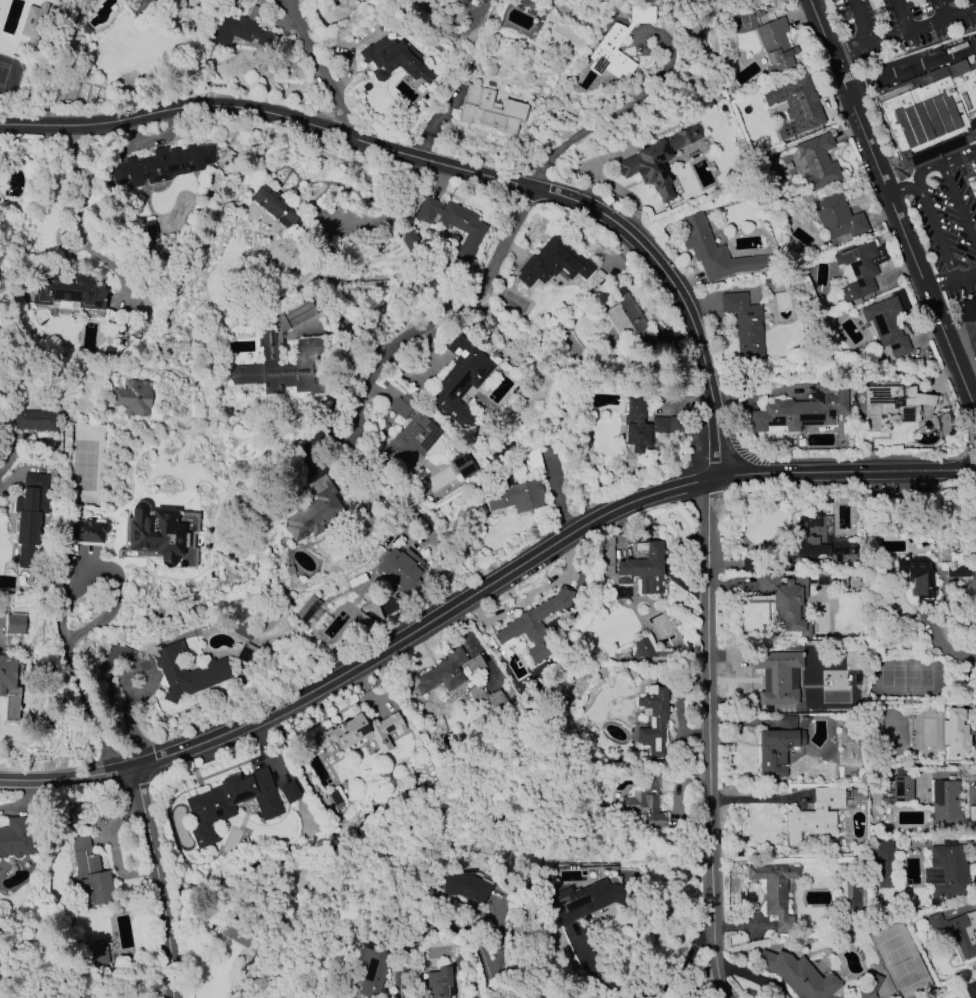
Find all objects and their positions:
building: (155, 0)
building: (460, 2)
building: (476, 2)
building: (138, 5)
road: (940, 8)
road: (860, 21)
parking lot: (902, 21)
road: (925, 22)
building: (34, 24)
building: (239, 30)
road: (887, 36)
building: (617, 44)
building: (775, 45)
road: (849, 49)
building: (394, 60)
road: (911, 65)
road: (316, 67)
building: (795, 106)
road: (627, 108)
building: (489, 110)
road: (268, 112)
building: (928, 117)
road: (640, 137)
building: (657, 160)
building: (818, 162)
building: (162, 164)
road: (421, 165)
road: (924, 165)
road: (943, 170)
road: (535, 182)
building: (275, 205)
road: (890, 205)
road: (961, 216)
building: (837, 217)
road: (385, 221)
road: (81, 223)
building: (454, 223)
road: (936, 228)
parking lot: (947, 232)
building: (152, 234)
building: (715, 251)
building: (553, 262)
building: (859, 270)
road: (965, 271)
road: (940, 280)
building: (69, 290)
road: (678, 292)
road: (470, 301)
building: (966, 309)
building: (628, 320)
building: (745, 325)
building: (887, 325)
gas station: (964, 329)
road: (964, 344)
building: (310, 346)
building: (460, 381)
building: (287, 391)
building: (133, 397)
building: (892, 404)
building: (401, 408)
building: (802, 409)
building: (35, 420)
building: (641, 423)
road: (352, 432)
building: (411, 439)
building: (532, 460)
building: (463, 465)
road: (555, 493)
building: (513, 495)
building: (315, 510)
building: (30, 513)
building: (87, 532)
building: (161, 535)
building: (822, 539)
building: (399, 567)
building: (643, 570)
building: (963, 574)
building: (916, 575)
road: (478, 589)
building: (792, 598)
building: (308, 607)
building: (14, 623)
road: (92, 626)
building: (531, 626)
building: (242, 632)
road: (948, 649)
building: (115, 654)
building: (188, 671)
building: (447, 672)
building: (777, 676)
building: (10, 687)
building: (488, 701)
building: (654, 722)
building: (958, 730)
building: (363, 731)
road: (710, 740)
building: (777, 747)
building: (902, 789)
building: (290, 792)
road: (757, 798)
building: (645, 801)
building: (231, 804)
building: (945, 804)
building: (818, 814)
road: (148, 829)
building: (17, 837)
building: (882, 861)
building: (946, 871)
building: (88, 876)
building: (466, 888)
building: (775, 891)
building: (852, 895)
building: (584, 900)
road: (449, 927)
building: (957, 931)
building: (97, 954)
road: (686, 965)
building: (372, 970)
road: (606, 971)
building: (797, 975)
building: (440, 983)
road: (704, 985)
building: (869, 987)
building: (970, 989)

